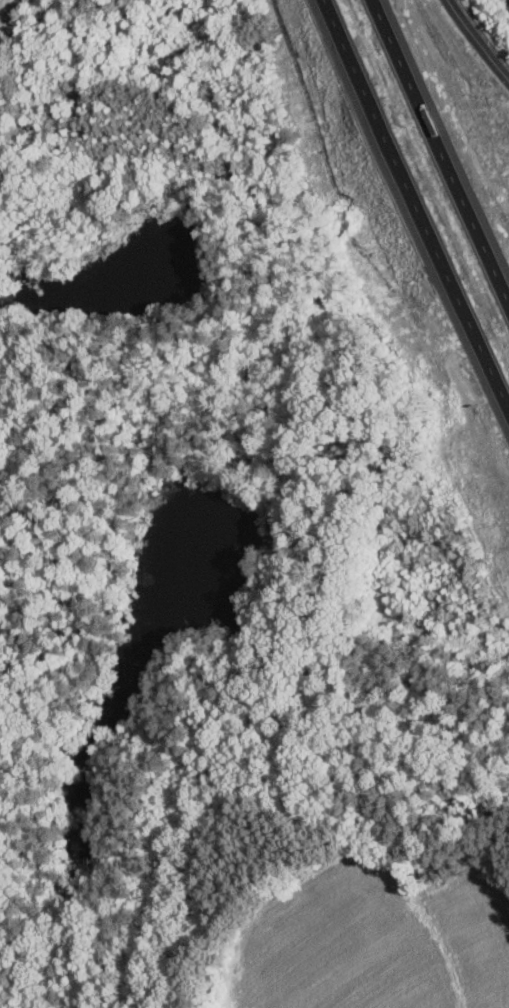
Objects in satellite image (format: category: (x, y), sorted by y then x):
road: (480, 39)
road: (439, 153)
road: (415, 207)

